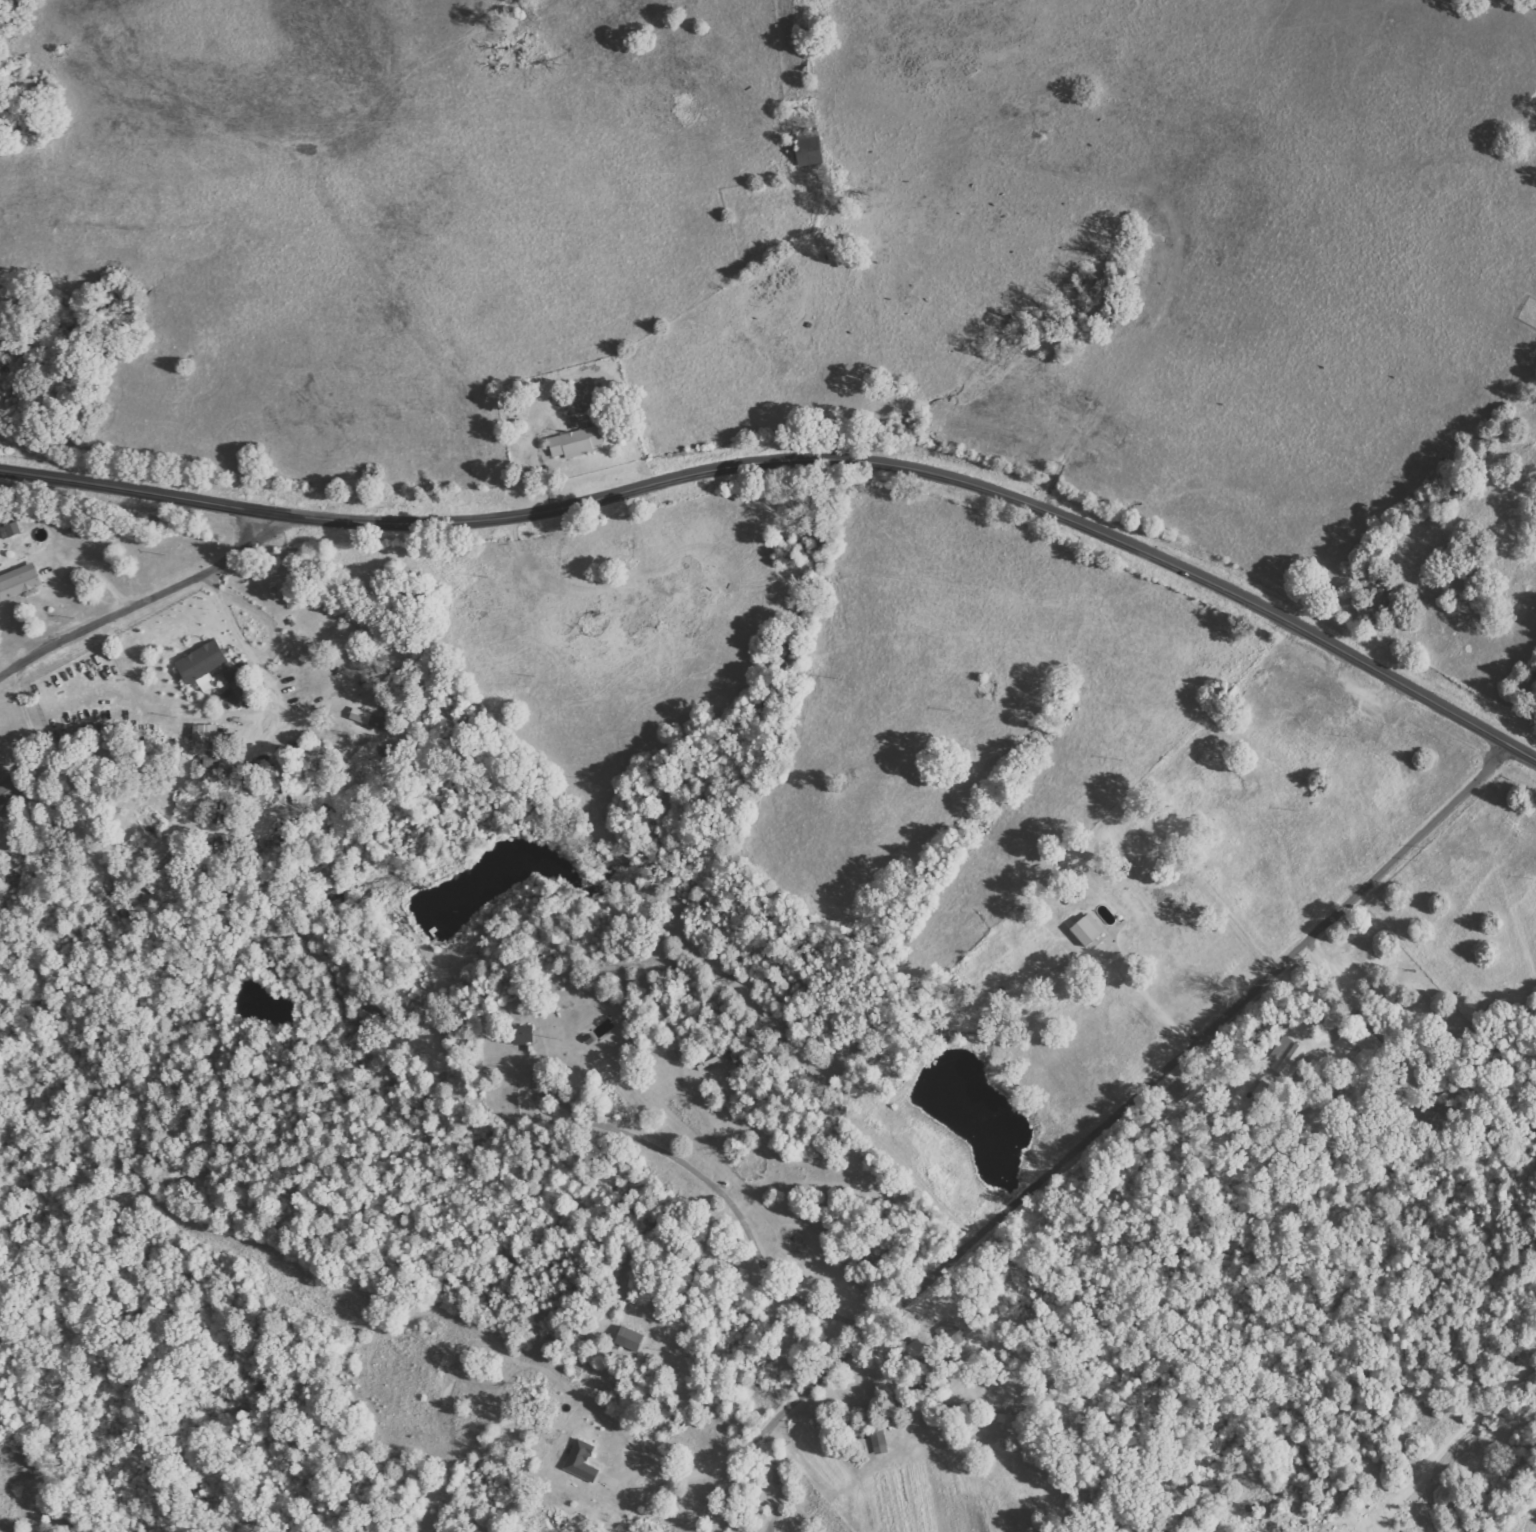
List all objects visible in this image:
building: (812, 140)
building: (814, 158)
building: (579, 442)
road: (795, 457)
building: (12, 531)
building: (20, 583)
road: (139, 604)
building: (204, 665)
building: (235, 685)
building: (372, 720)
road: (1163, 721)
building: (9, 794)
road: (1471, 861)
building: (167, 873)
building: (1083, 930)
road: (1216, 986)
road: (1505, 1022)
building: (517, 1035)
building: (1364, 1055)
building: (1285, 1058)
road: (1066, 1085)
building: (1188, 1088)
road: (903, 1123)
building: (948, 1335)
building: (627, 1340)
road: (966, 1375)
building: (876, 1442)
building: (584, 1461)

